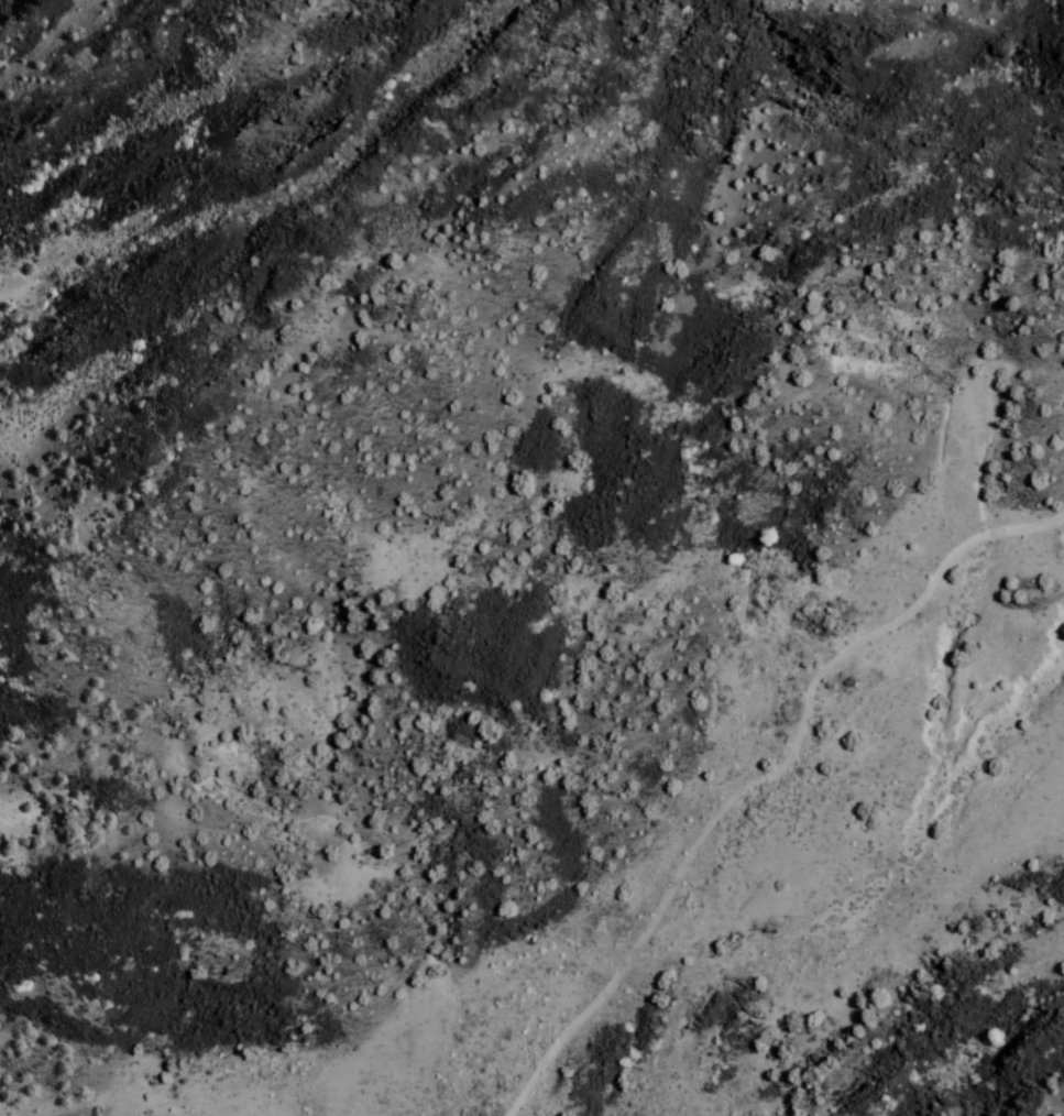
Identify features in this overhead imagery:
road: (770, 265)
road: (548, 519)
road: (722, 824)

